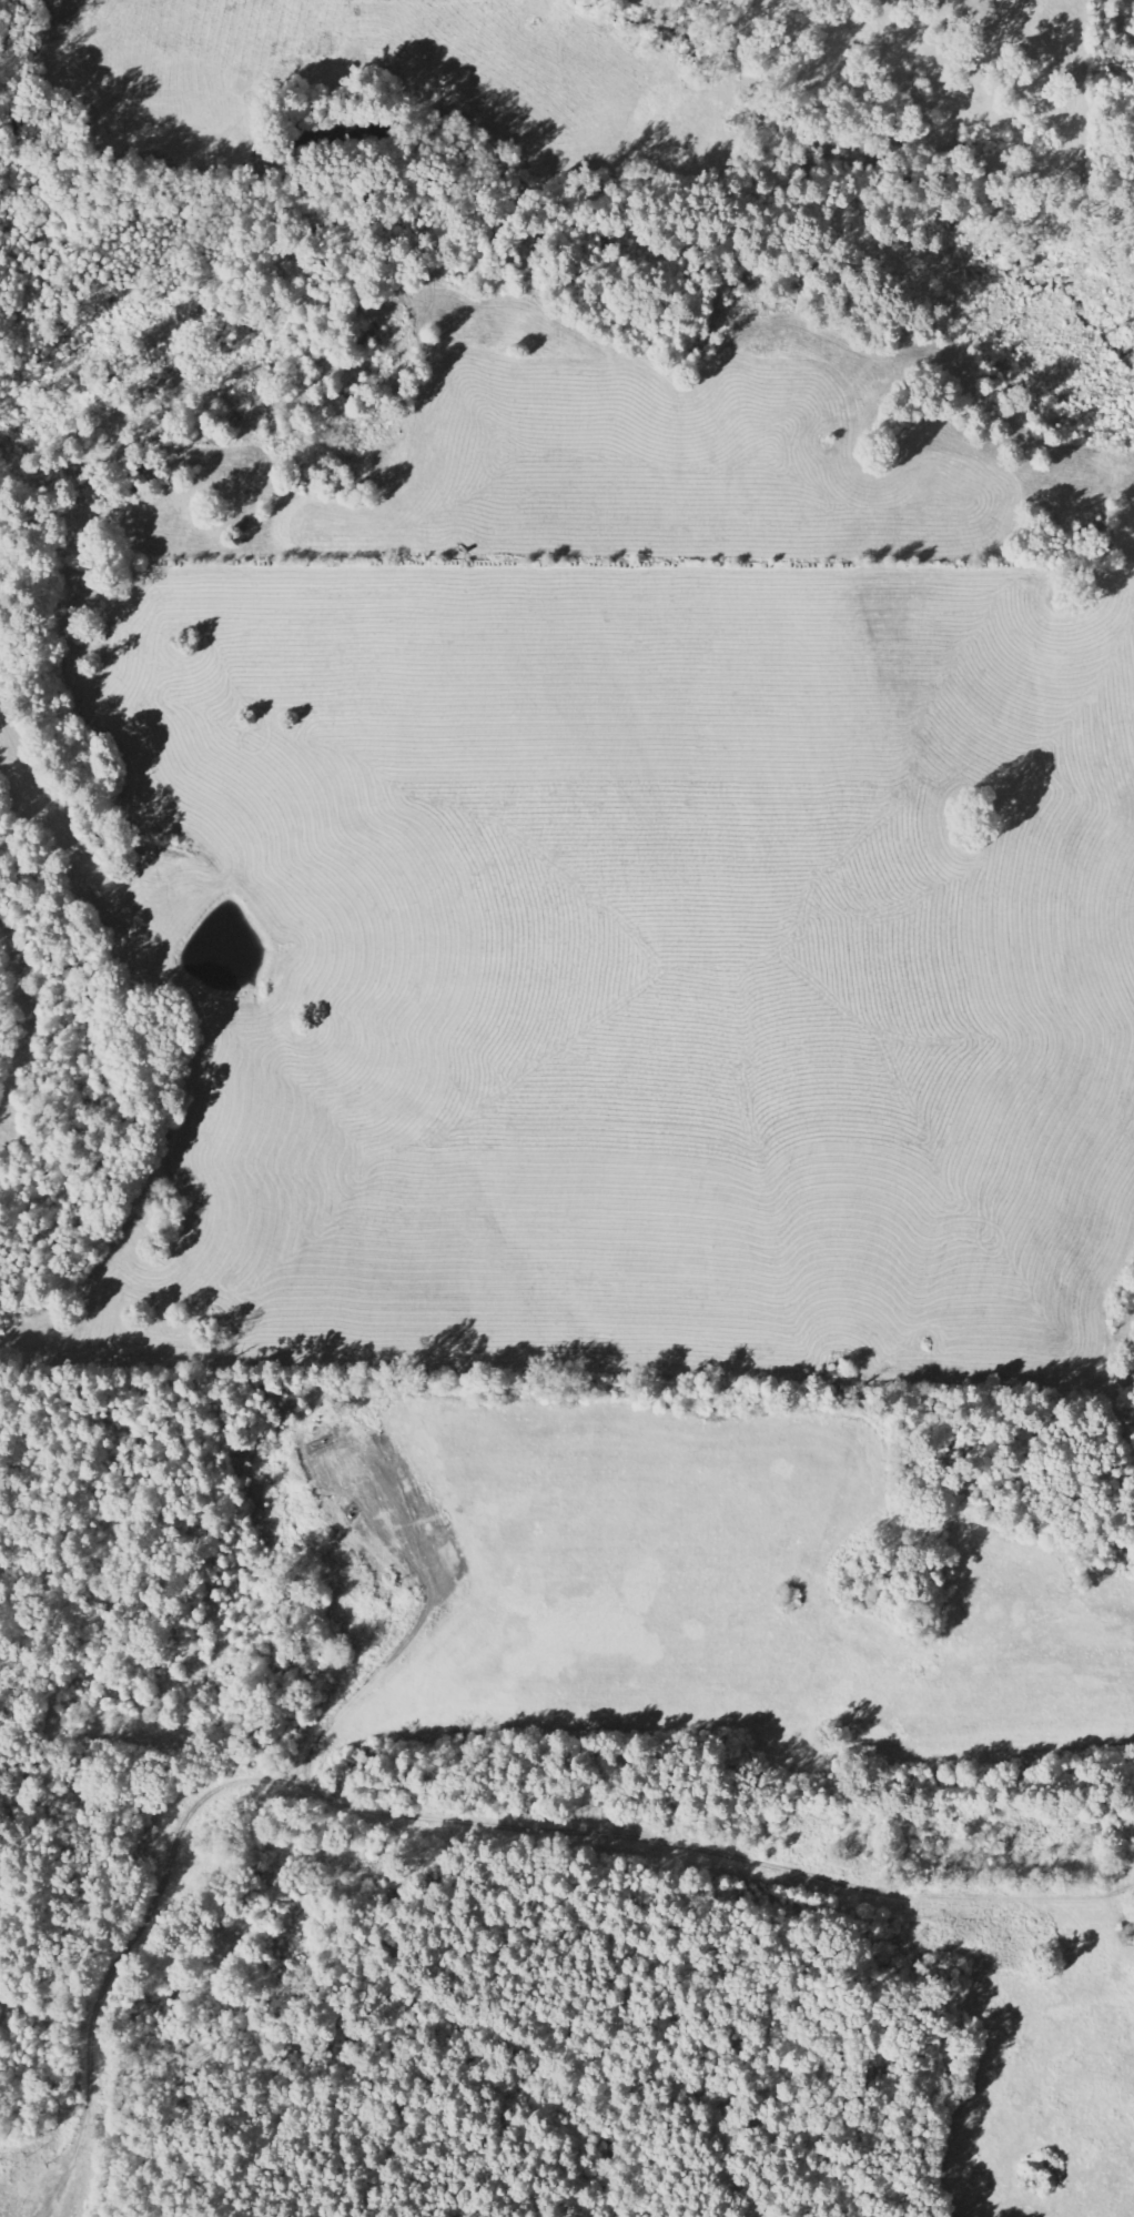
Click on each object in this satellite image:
road: (326, 1448)
road: (366, 1683)
road: (443, 1817)

